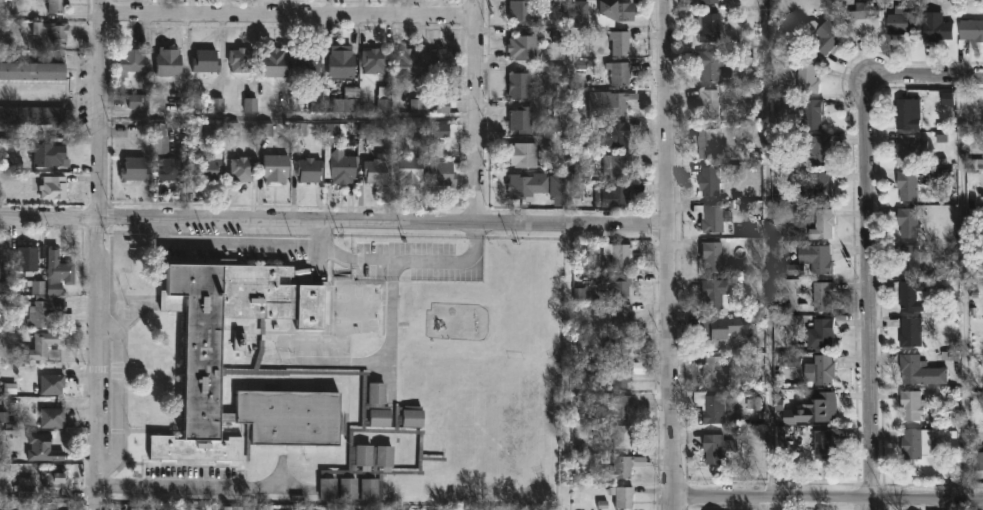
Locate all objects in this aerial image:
building: (707, 1)
building: (56, 6)
building: (619, 10)
building: (526, 13)
building: (583, 14)
building: (862, 17)
road: (287, 19)
building: (900, 20)
building: (709, 28)
building: (937, 29)
building: (970, 29)
building: (52, 30)
building: (822, 36)
building: (619, 42)
building: (524, 47)
building: (240, 59)
building: (309, 60)
building: (205, 61)
building: (376, 61)
building: (443, 61)
building: (134, 62)
building: (170, 62)
building: (273, 63)
building: (343, 63)
building: (410, 63)
building: (710, 64)
building: (32, 71)
building: (619, 73)
building: (805, 77)
building: (518, 85)
building: (318, 95)
building: (385, 99)
building: (348, 101)
building: (613, 102)
building: (711, 103)
road: (475, 112)
building: (810, 113)
building: (906, 113)
building: (31, 115)
road: (286, 117)
building: (520, 119)
building: (450, 130)
building: (616, 134)
building: (161, 138)
building: (710, 142)
building: (814, 148)
building: (909, 148)
building: (49, 155)
building: (521, 155)
building: (617, 165)
building: (343, 167)
building: (210, 168)
building: (136, 169)
building: (172, 169)
building: (244, 169)
building: (276, 169)
building: (311, 170)
building: (412, 170)
building: (378, 171)
building: (444, 173)
building: (713, 181)
building: (906, 184)
building: (528, 186)
building: (560, 186)
building: (813, 186)
building: (52, 187)
building: (617, 196)
building: (713, 217)
road: (334, 221)
building: (907, 221)
building: (820, 224)
road: (870, 239)
road: (237, 244)
building: (2, 253)
building: (620, 253)
road: (768, 254)
road: (96, 255)
road: (670, 255)
building: (709, 256)
building: (816, 258)
building: (26, 259)
road: (357, 259)
building: (907, 259)
road: (396, 266)
building: (56, 272)
building: (618, 282)
road: (966, 286)
building: (5, 288)
building: (37, 289)
building: (713, 294)
building: (911, 295)
building: (822, 296)
building: (38, 310)
building: (624, 314)
building: (723, 330)
building: (910, 332)
building: (819, 333)
building: (619, 345)
building: (45, 347)
building: (202, 358)
building: (823, 369)
building: (918, 370)
building: (717, 371)
building: (619, 375)
building: (51, 384)
building: (377, 391)
building: (910, 404)
building: (715, 405)
building: (823, 405)
building: (620, 406)
building: (379, 416)
building: (413, 416)
building: (51, 418)
building: (622, 435)
building: (434, 439)
building: (821, 442)
building: (915, 443)
building: (721, 446)
building: (41, 449)
building: (408, 450)
building: (364, 456)
building: (384, 456)
building: (977, 462)
building: (622, 467)
building: (53, 478)
building: (395, 484)
building: (348, 487)
building: (26, 488)
road: (201, 488)
building: (327, 488)
building: (369, 488)
building: (625, 496)
road: (829, 497)

